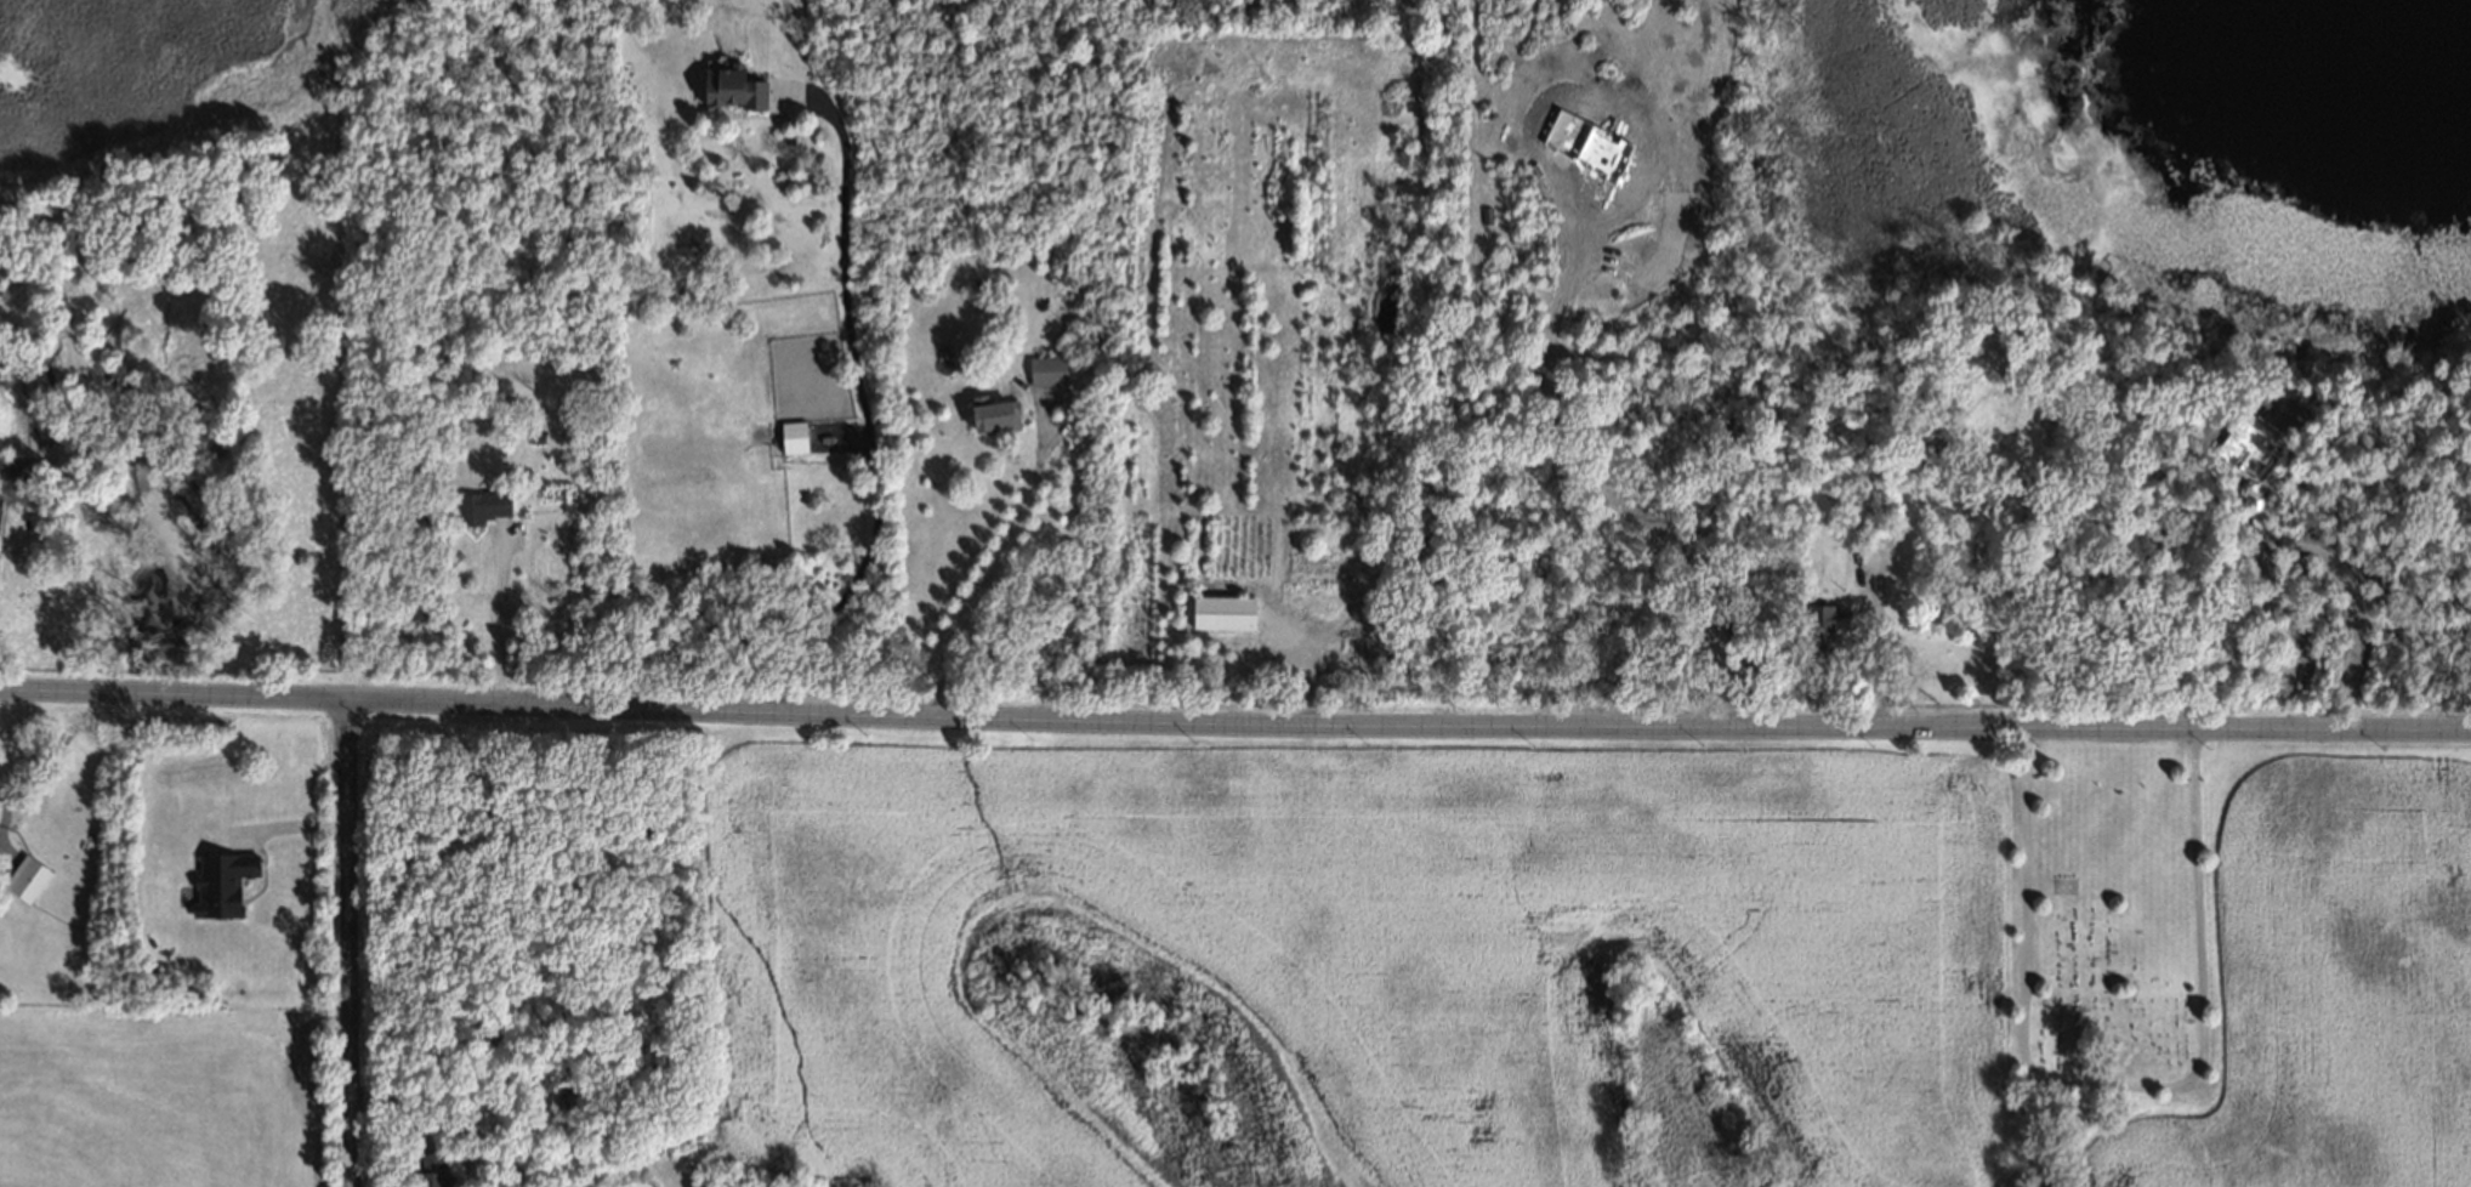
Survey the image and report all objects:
building: (733, 81)
building: (1066, 325)
building: (1043, 368)
road: (862, 409)
building: (992, 411)
building: (813, 421)
building: (534, 433)
building: (789, 433)
building: (479, 502)
road: (989, 574)
road: (2350, 580)
building: (1217, 607)
road: (499, 619)
building: (1817, 625)
road: (1876, 666)
road: (1234, 723)
building: (27, 874)
road: (347, 944)
building: (430, 1171)

